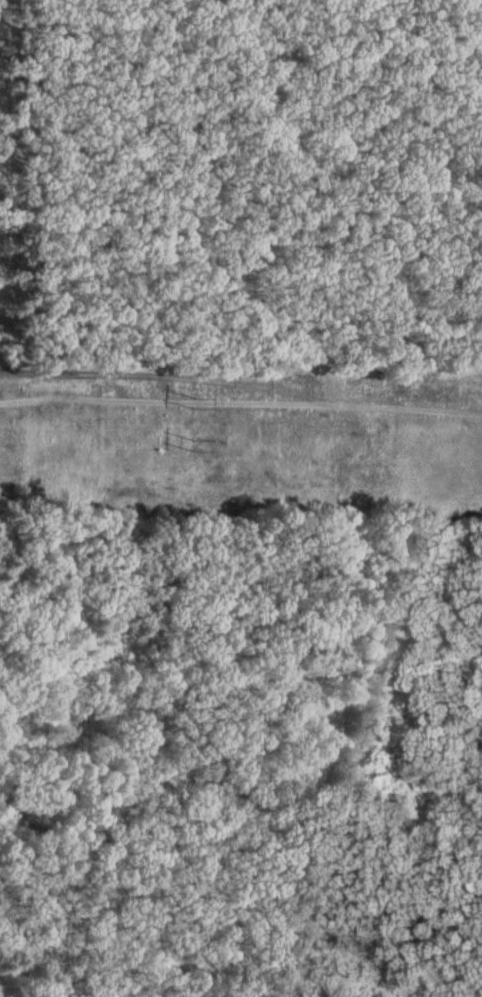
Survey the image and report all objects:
power tower: (194, 400)
power tower: (193, 444)

